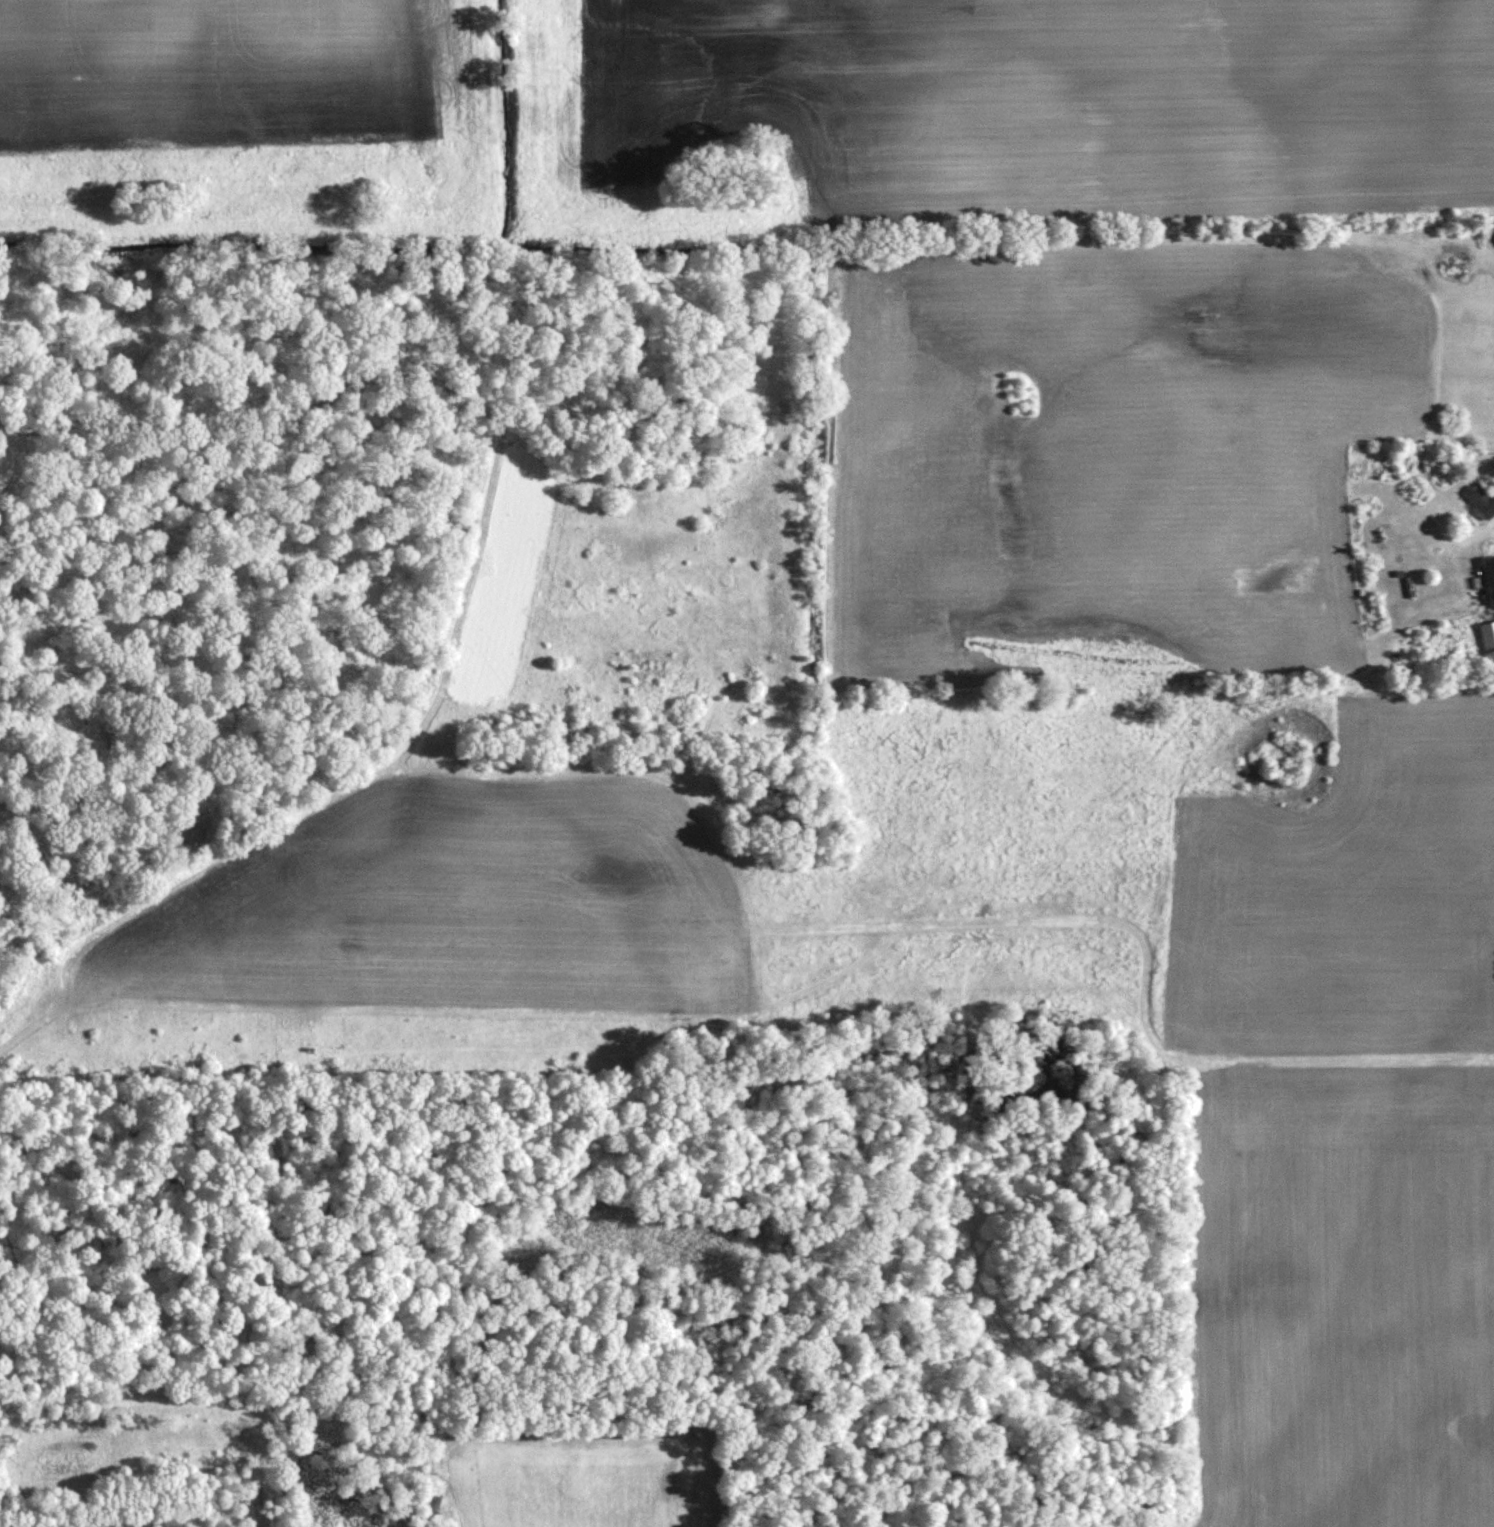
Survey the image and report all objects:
building: (1480, 498)
building: (1488, 576)
building: (1486, 633)

